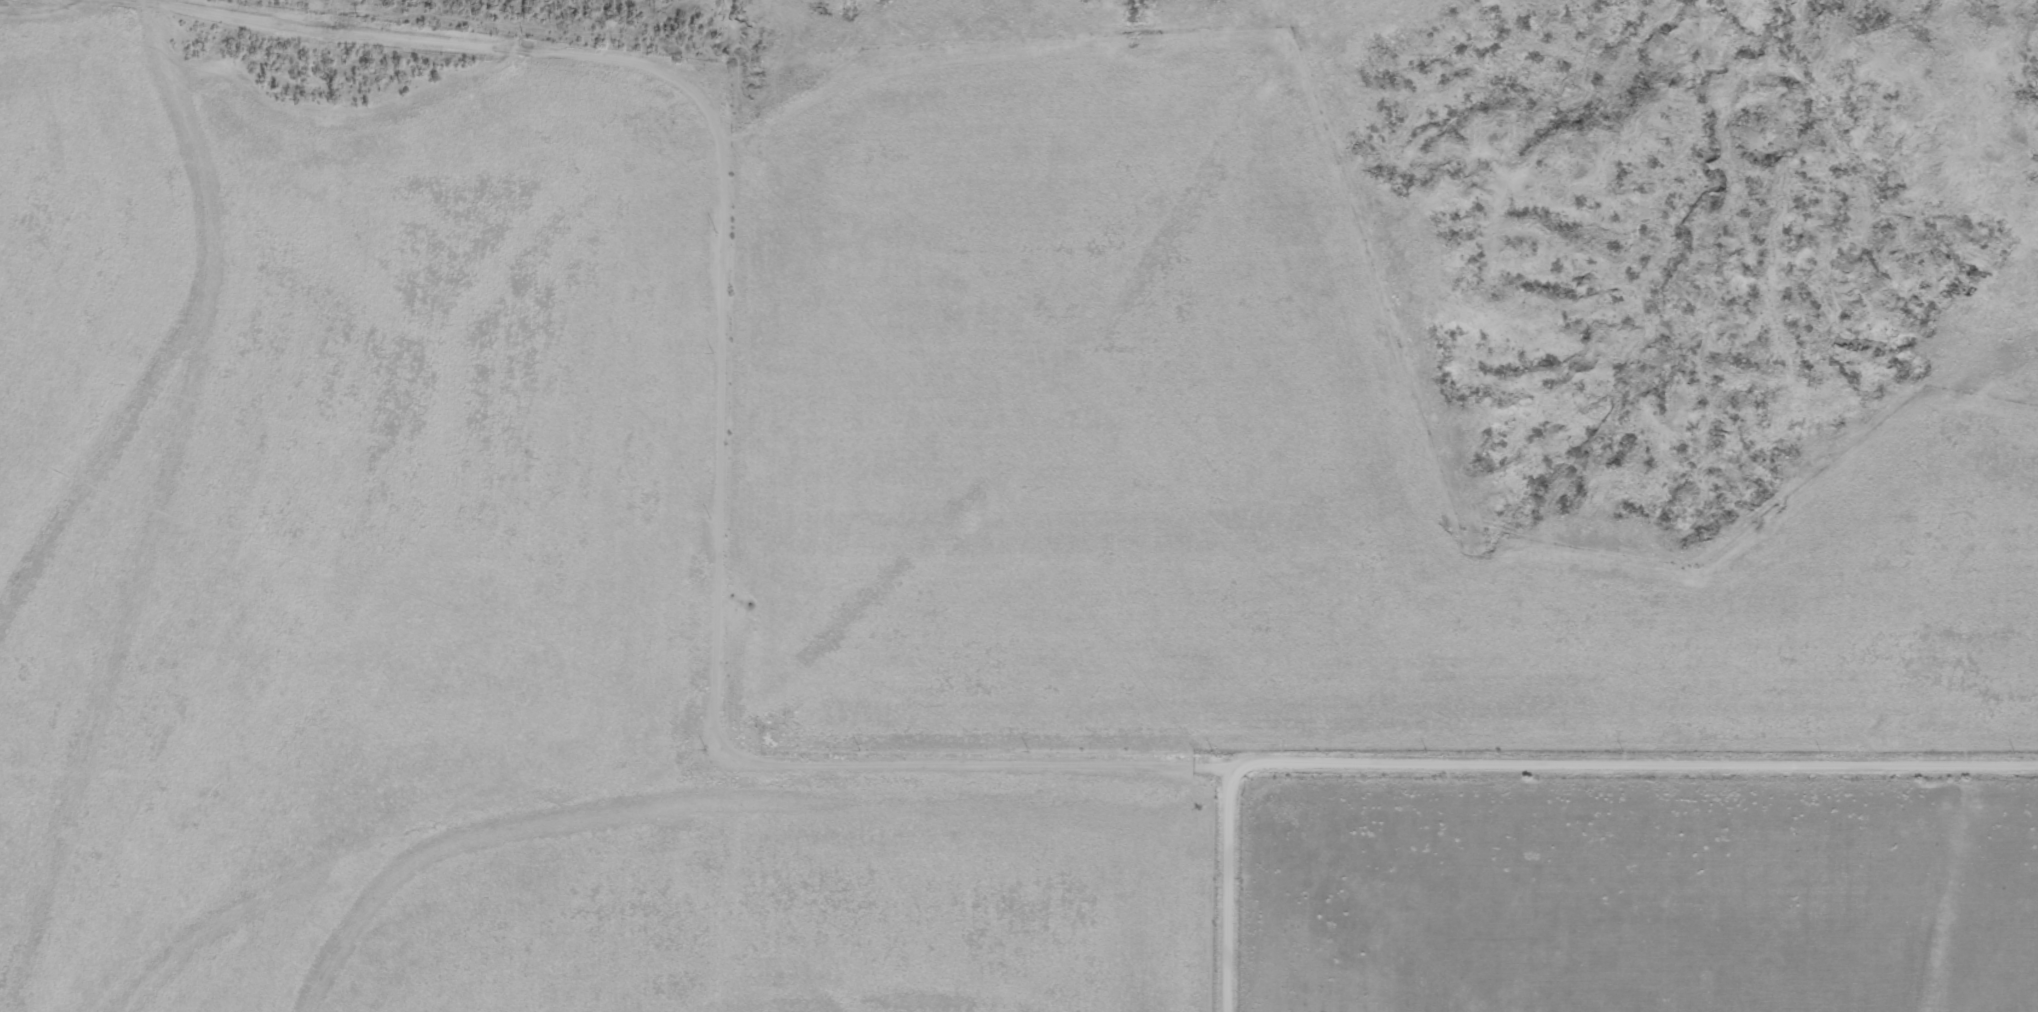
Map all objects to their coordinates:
road: (876, 751)
road: (1231, 886)

